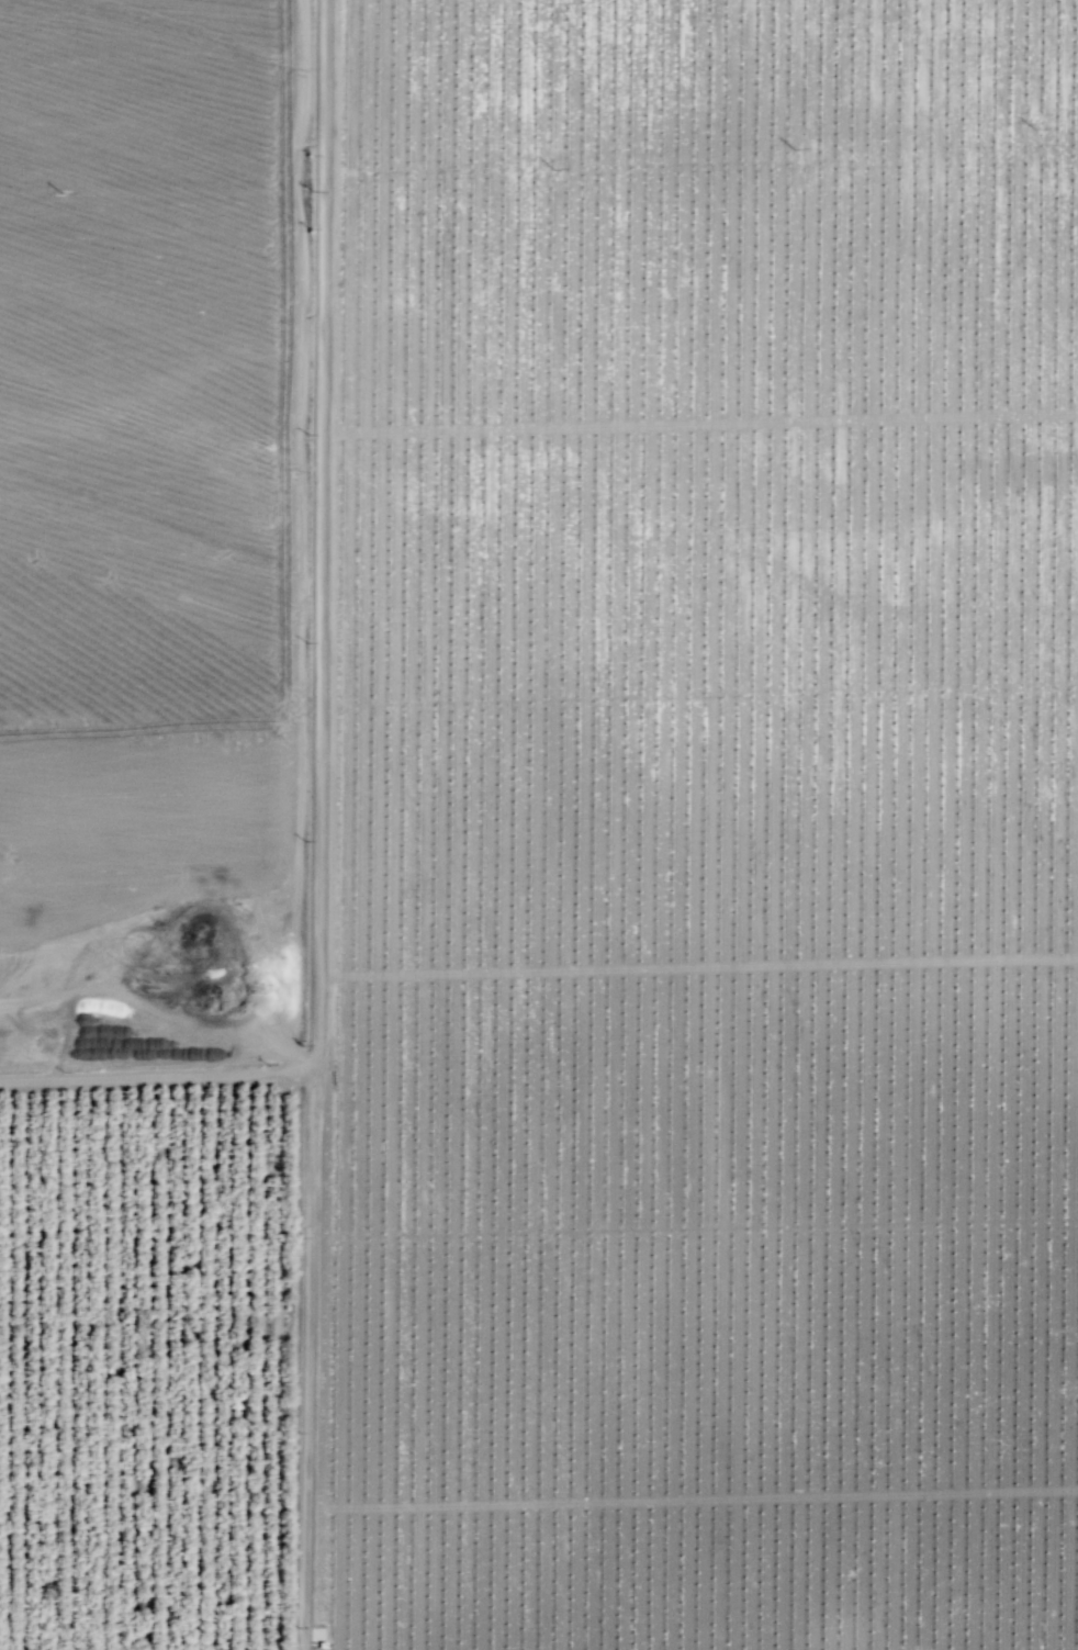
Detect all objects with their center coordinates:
road: (318, 824)
road: (782, 824)
crop: (692, 827)
road: (156, 1078)

